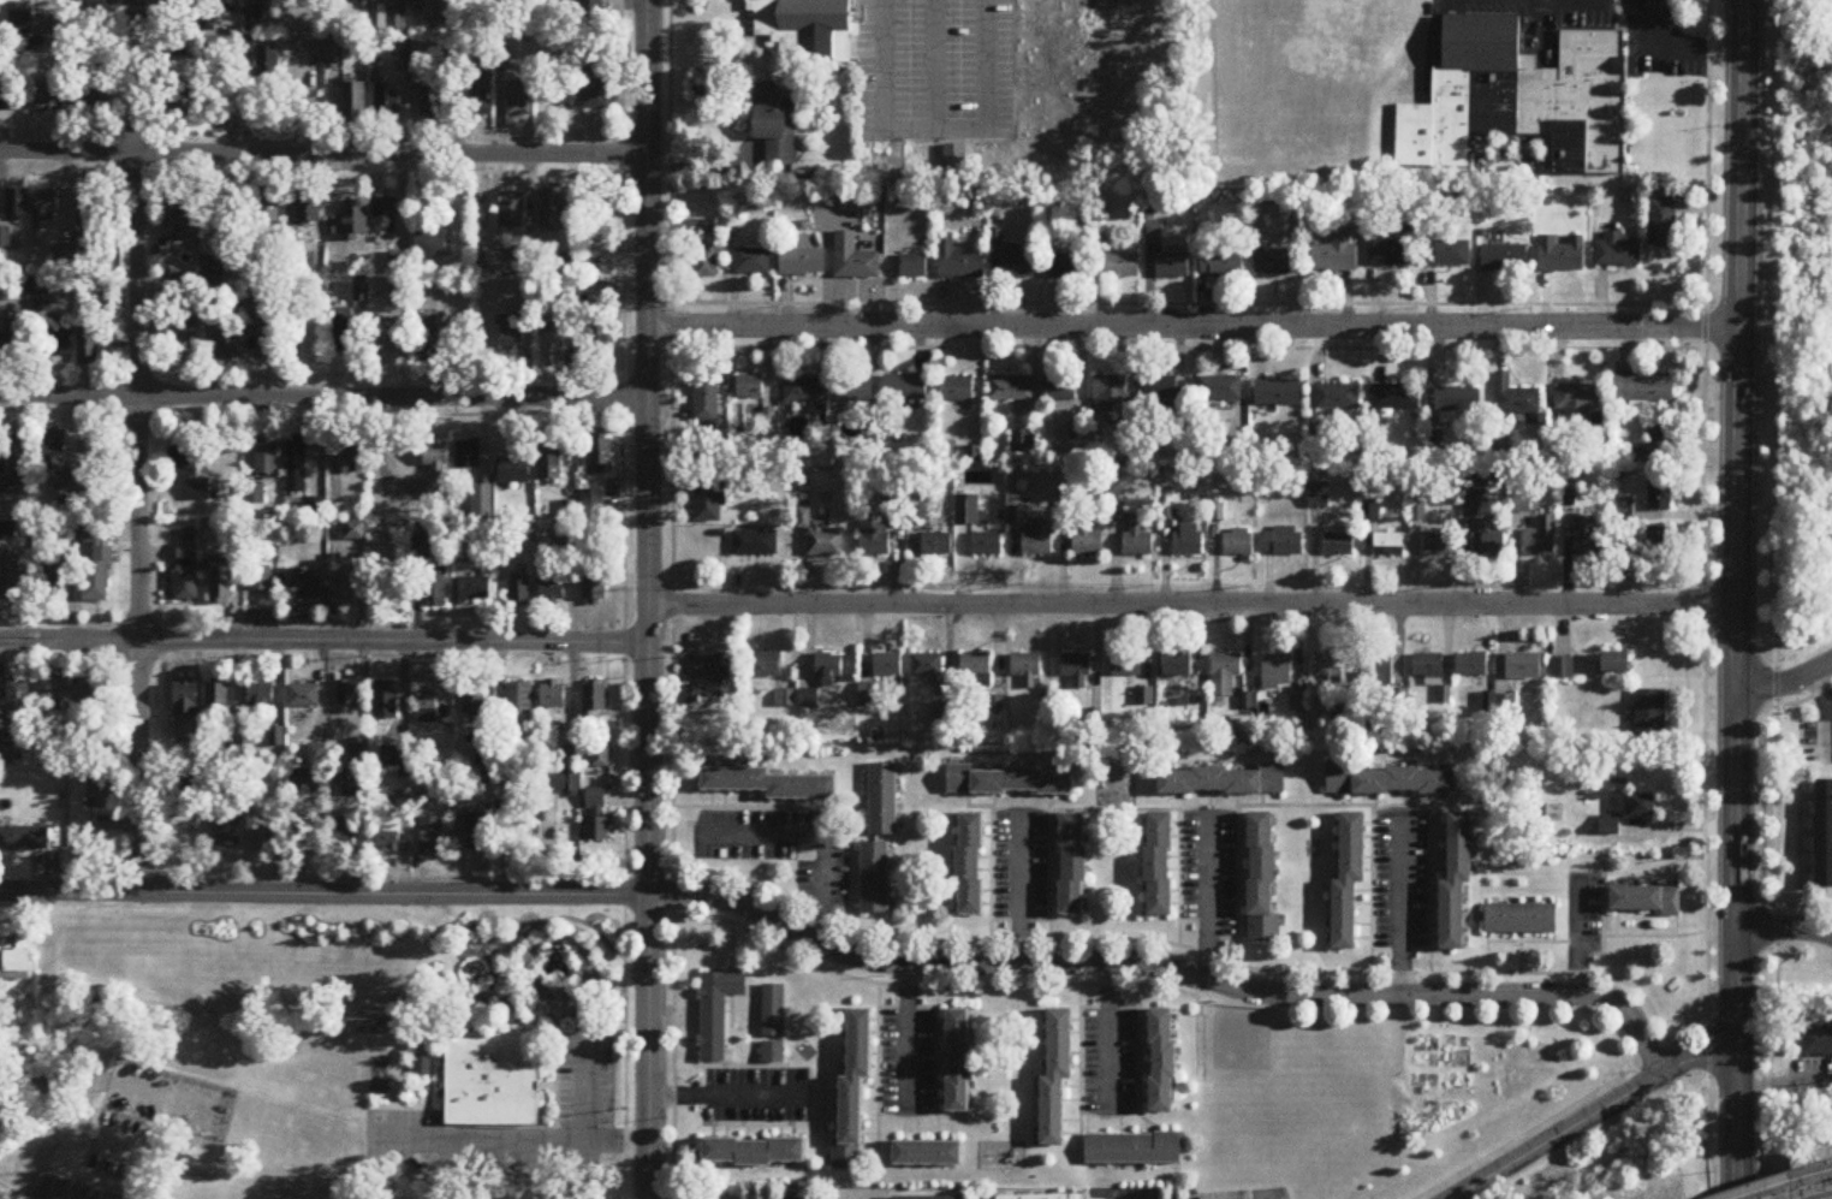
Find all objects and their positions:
building: (523, 0)
building: (172, 4)
building: (103, 6)
building: (590, 6)
building: (435, 11)
building: (394, 19)
building: (19, 24)
building: (44, 25)
building: (807, 28)
road: (1676, 49)
building: (335, 54)
road: (934, 65)
building: (595, 84)
building: (96, 88)
building: (566, 95)
building: (1529, 95)
building: (52, 96)
building: (478, 97)
building: (518, 100)
building: (6, 101)
building: (385, 102)
building: (355, 103)
building: (432, 106)
building: (183, 107)
building: (775, 124)
road: (933, 130)
road: (323, 154)
building: (954, 159)
building: (17, 204)
building: (48, 204)
building: (603, 206)
building: (268, 210)
building: (309, 210)
building: (512, 212)
building: (553, 212)
building: (89, 216)
building: (383, 216)
building: (185, 221)
building: (351, 221)
building: (1664, 225)
building: (5, 238)
building: (430, 243)
building: (1617, 253)
building: (707, 254)
building: (1390, 255)
building: (1447, 255)
building: (1336, 256)
building: (1562, 256)
building: (1505, 259)
building: (853, 260)
building: (1122, 261)
building: (398, 262)
building: (753, 262)
building: (802, 262)
building: (1277, 262)
building: (959, 263)
building: (1017, 263)
building: (1172, 265)
building: (912, 266)
building: (1066, 266)
building: (1223, 266)
building: (215, 272)
building: (186, 293)
building: (399, 296)
building: (43, 302)
road: (1186, 304)
road: (1192, 328)
building: (343, 331)
building: (185, 332)
building: (511, 334)
building: (10, 336)
building: (60, 338)
building: (268, 338)
building: (311, 340)
building: (599, 342)
building: (228, 343)
building: (88, 345)
building: (427, 345)
road: (1162, 349)
building: (554, 351)
building: (388, 354)
building: (750, 388)
building: (904, 388)
building: (1010, 388)
building: (1060, 388)
building: (1219, 390)
building: (1643, 390)
building: (855, 391)
building: (957, 391)
building: (1164, 391)
building: (808, 392)
building: (1278, 393)
building: (1111, 394)
building: (1397, 397)
road: (323, 398)
building: (1334, 398)
building: (1513, 398)
building: (707, 400)
building: (1457, 402)
building: (1577, 402)
road: (621, 441)
building: (1022, 443)
building: (1655, 445)
road: (139, 446)
road: (671, 449)
building: (55, 453)
building: (469, 456)
building: (601, 456)
building: (353, 458)
building: (19, 459)
building: (266, 459)
building: (551, 459)
building: (296, 464)
building: (517, 464)
building: (190, 468)
building: (436, 469)
building: (254, 494)
building: (1661, 497)
building: (707, 505)
building: (71, 508)
building: (314, 508)
building: (966, 510)
building: (1369, 515)
road: (1736, 515)
building: (1017, 516)
building: (355, 530)
building: (7, 533)
building: (821, 539)
building: (1087, 539)
building: (1137, 539)
building: (1542, 539)
building: (1589, 539)
building: (874, 540)
building: (1039, 540)
building: (1189, 540)
building: (1283, 542)
building: (1237, 544)
building: (1491, 544)
building: (754, 545)
building: (987, 545)
building: (1338, 545)
building: (1439, 545)
building: (935, 546)
building: (1390, 546)
building: (1660, 550)
building: (460, 553)
building: (96, 564)
building: (186, 572)
building: (50, 576)
building: (11, 580)
building: (260, 580)
building: (344, 580)
building: (220, 581)
building: (435, 586)
building: (307, 587)
building: (595, 588)
building: (474, 589)
building: (553, 590)
building: (521, 593)
road: (1755, 594)
road: (1702, 598)
road: (648, 599)
road: (1776, 601)
road: (1191, 606)
road: (323, 643)
road: (1803, 652)
building: (1618, 665)
building: (765, 666)
building: (927, 666)
building: (975, 666)
building: (1177, 666)
building: (1471, 666)
building: (886, 667)
building: (1126, 667)
building: (1427, 667)
building: (1524, 667)
building: (829, 669)
building: (1025, 669)
building: (1328, 669)
building: (1076, 670)
building: (1564, 670)
building: (714, 671)
building: (1378, 671)
building: (1277, 672)
building: (1225, 675)
road: (1784, 684)
building: (70, 691)
building: (260, 694)
building: (349, 694)
building: (554, 695)
building: (303, 696)
building: (216, 698)
building: (866, 698)
building: (519, 699)
building: (186, 700)
building: (474, 700)
building: (18, 701)
building: (385, 701)
building: (594, 702)
building: (429, 707)
building: (1652, 713)
building: (358, 752)
building: (317, 754)
building: (394, 756)
building: (570, 758)
building: (600, 759)
building: (308, 780)
building: (1223, 782)
building: (1388, 782)
building: (563, 783)
building: (1009, 783)
building: (519, 784)
building: (772, 785)
building: (353, 787)
building: (100, 791)
building: (190, 791)
building: (882, 800)
building: (404, 806)
building: (1644, 807)
building: (596, 817)
building: (1608, 826)
building: (480, 831)
building: (227, 832)
road: (819, 833)
building: (389, 835)
building: (343, 836)
building: (433, 836)
building: (1825, 836)
building: (24, 839)
building: (264, 839)
building: (310, 844)
building: (971, 866)
building: (1075, 866)
building: (1160, 866)
road: (650, 875)
building: (874, 879)
building: (1263, 879)
building: (1350, 882)
building: (1459, 884)
road: (1019, 892)
road: (323, 894)
road: (1205, 902)
building: (1647, 902)
road: (1400, 909)
building: (1523, 920)
road: (1784, 928)
road: (1582, 940)
building: (18, 961)
road: (1170, 969)
road: (625, 1010)
building: (716, 1013)
building: (774, 1013)
road: (1106, 1028)
road: (905, 1032)
park: (1242, 1043)
building: (1819, 1043)
building: (773, 1053)
building: (959, 1063)
building: (1164, 1063)
building: (1058, 1079)
building: (492, 1080)
road: (585, 1084)
road: (1784, 1084)
road: (724, 1093)
building: (855, 1094)
road: (1595, 1115)
road: (1737, 1115)
road: (508, 1140)
building: (1135, 1151)
building: (756, 1153)
building: (929, 1156)
building: (118, 1168)
road: (1809, 1187)
park: (1268, 1193)
road: (43, 1194)
road: (1783, 1197)
building: (1047, 1198)

